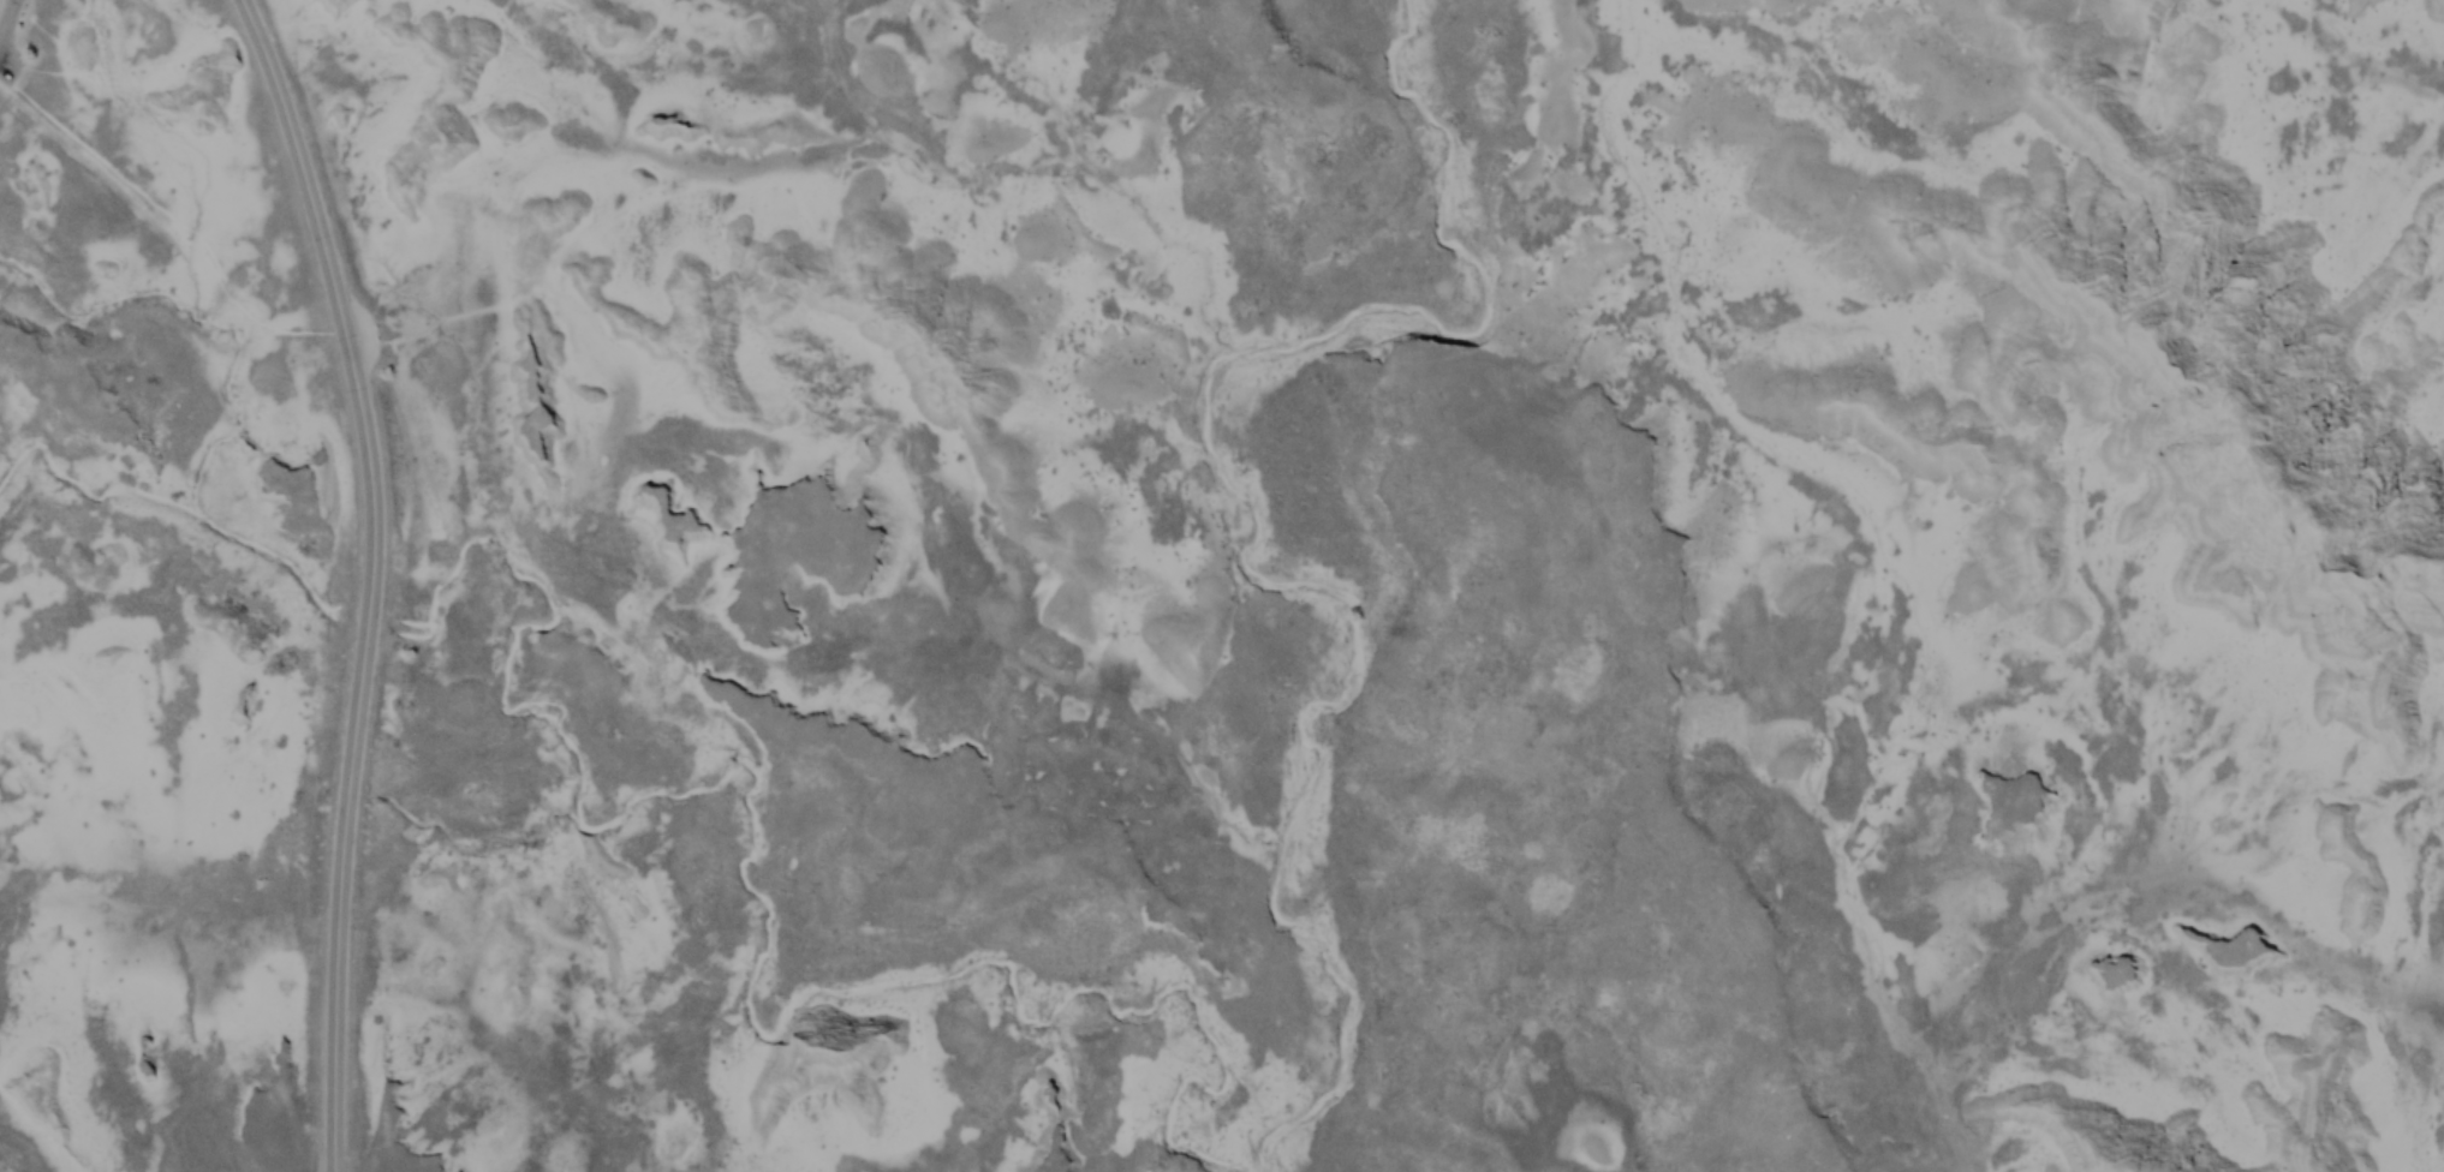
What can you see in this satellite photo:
road: (8, 22)
road: (372, 576)

